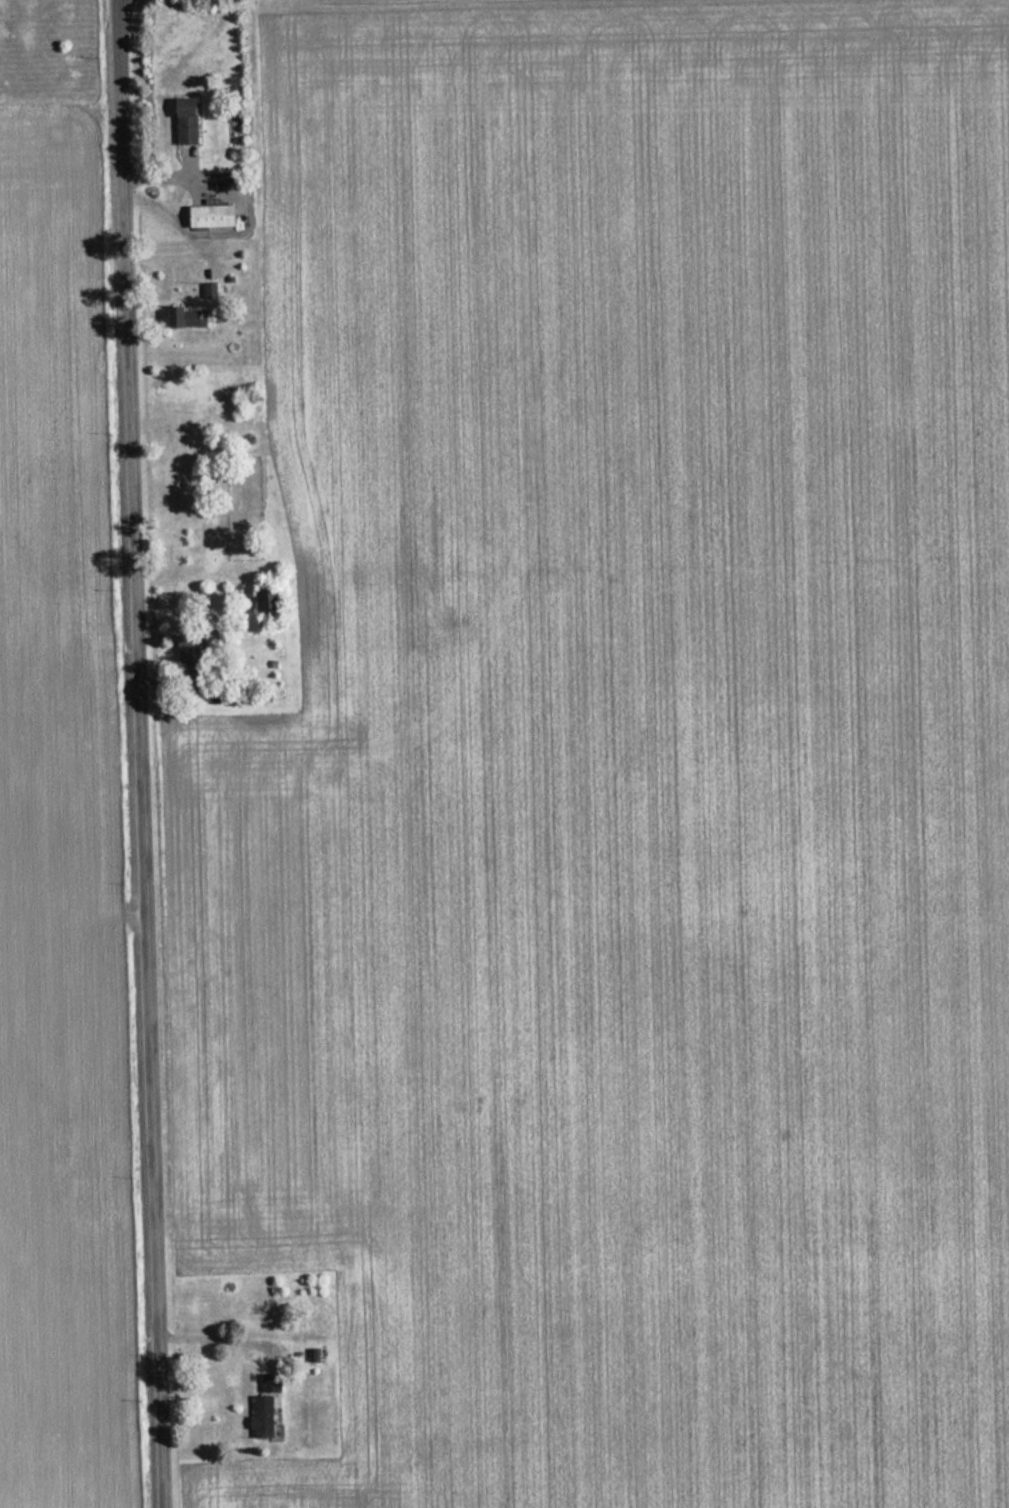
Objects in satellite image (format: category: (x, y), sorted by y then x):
building: (212, 216)
building: (176, 313)
building: (267, 600)
road: (138, 754)
crop: (621, 762)
crop: (56, 856)

